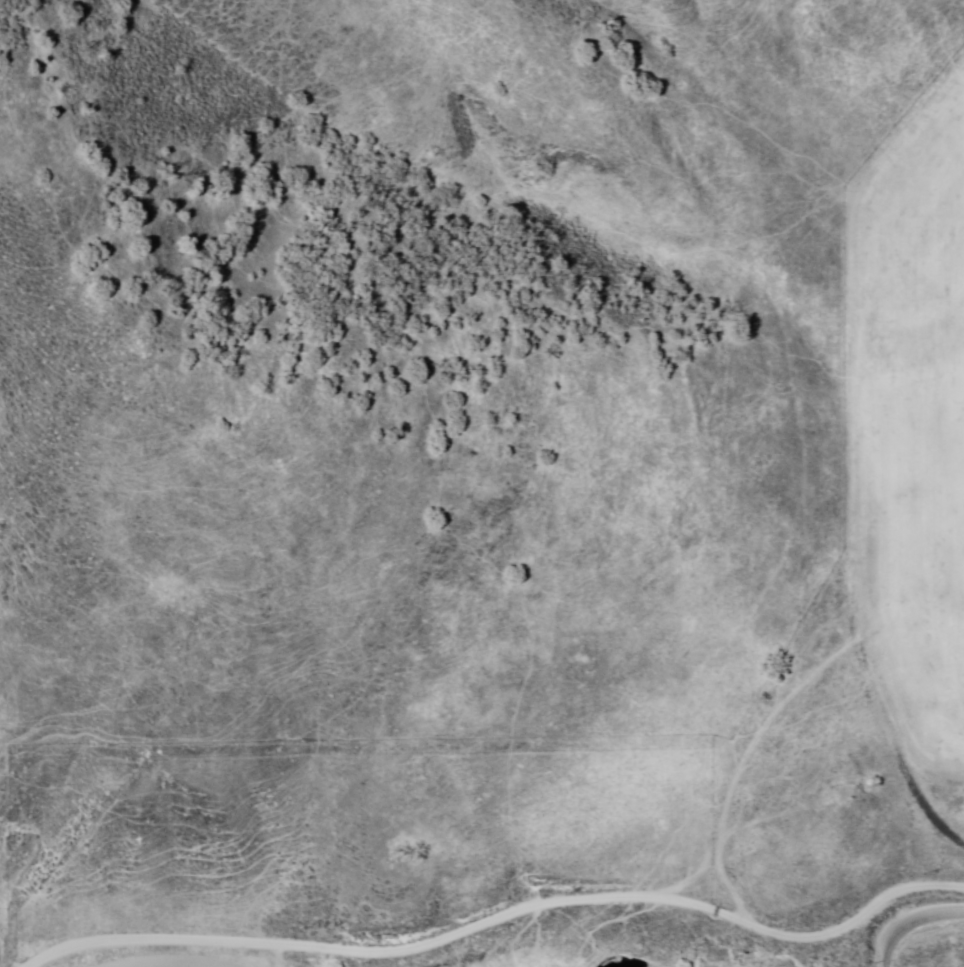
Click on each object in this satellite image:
road: (872, 495)
road: (937, 883)
road: (449, 921)
road: (909, 922)

